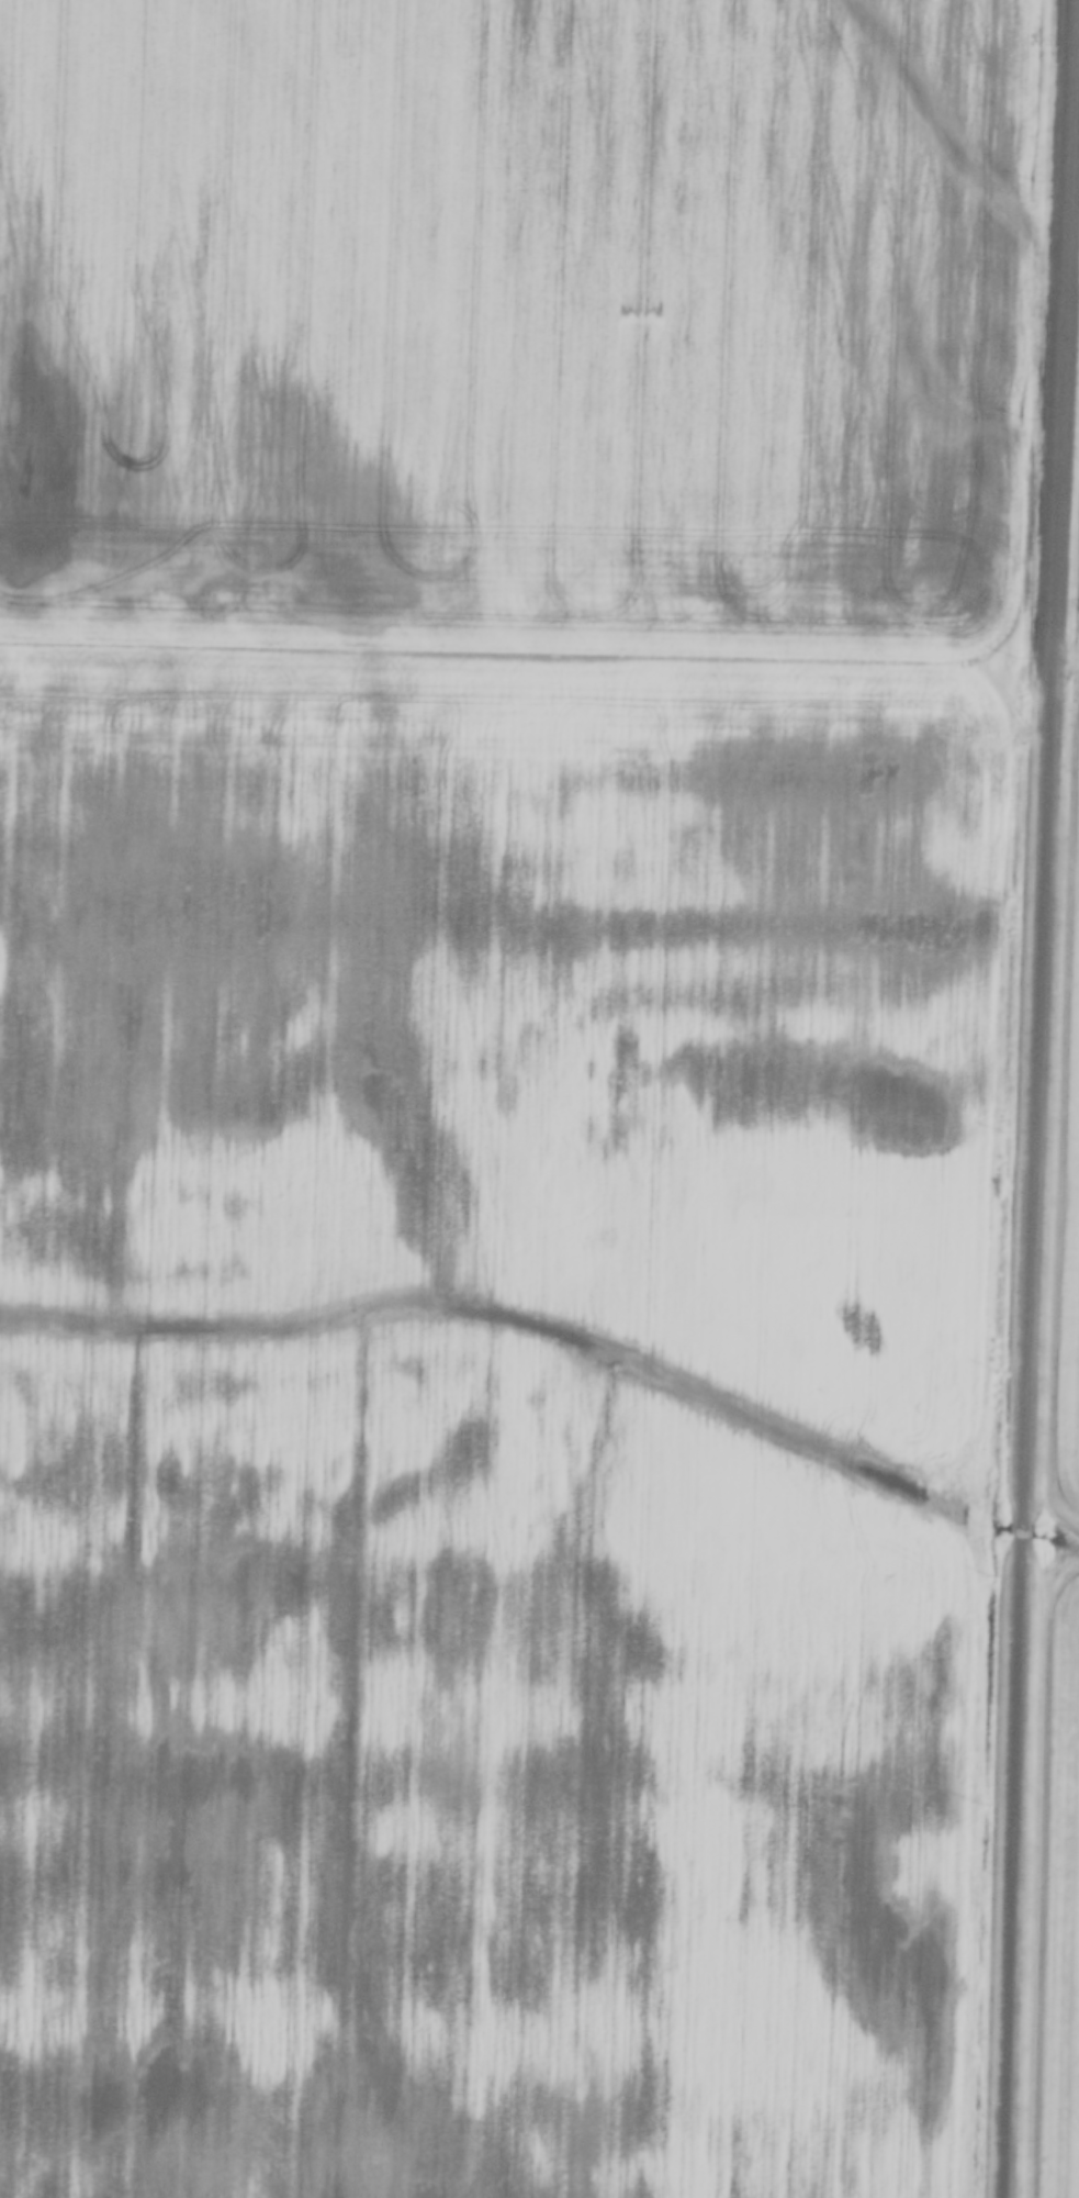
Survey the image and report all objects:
road: (1038, 1103)

